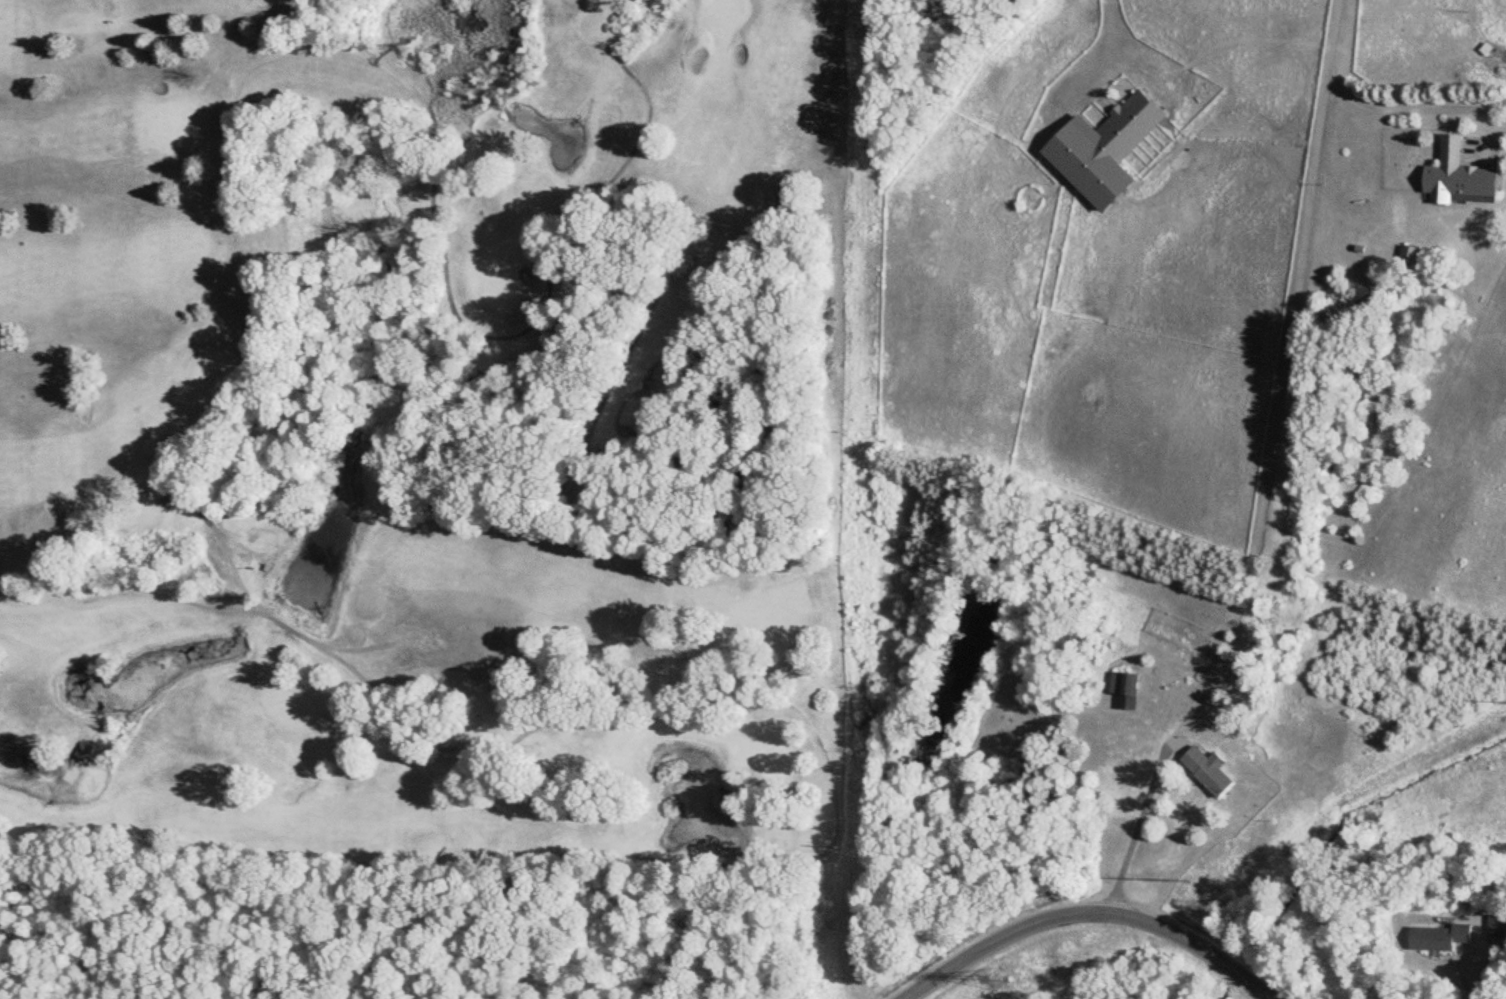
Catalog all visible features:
road: (1101, 51)
road: (1498, 133)
building: (1100, 150)
building: (1454, 180)
park: (428, 426)
building: (1123, 690)
building: (1204, 771)
road: (1139, 819)
power tower: (1197, 878)
road: (1080, 911)
building: (1494, 926)
building: (1435, 938)
road: (1465, 977)
power tower: (993, 979)

